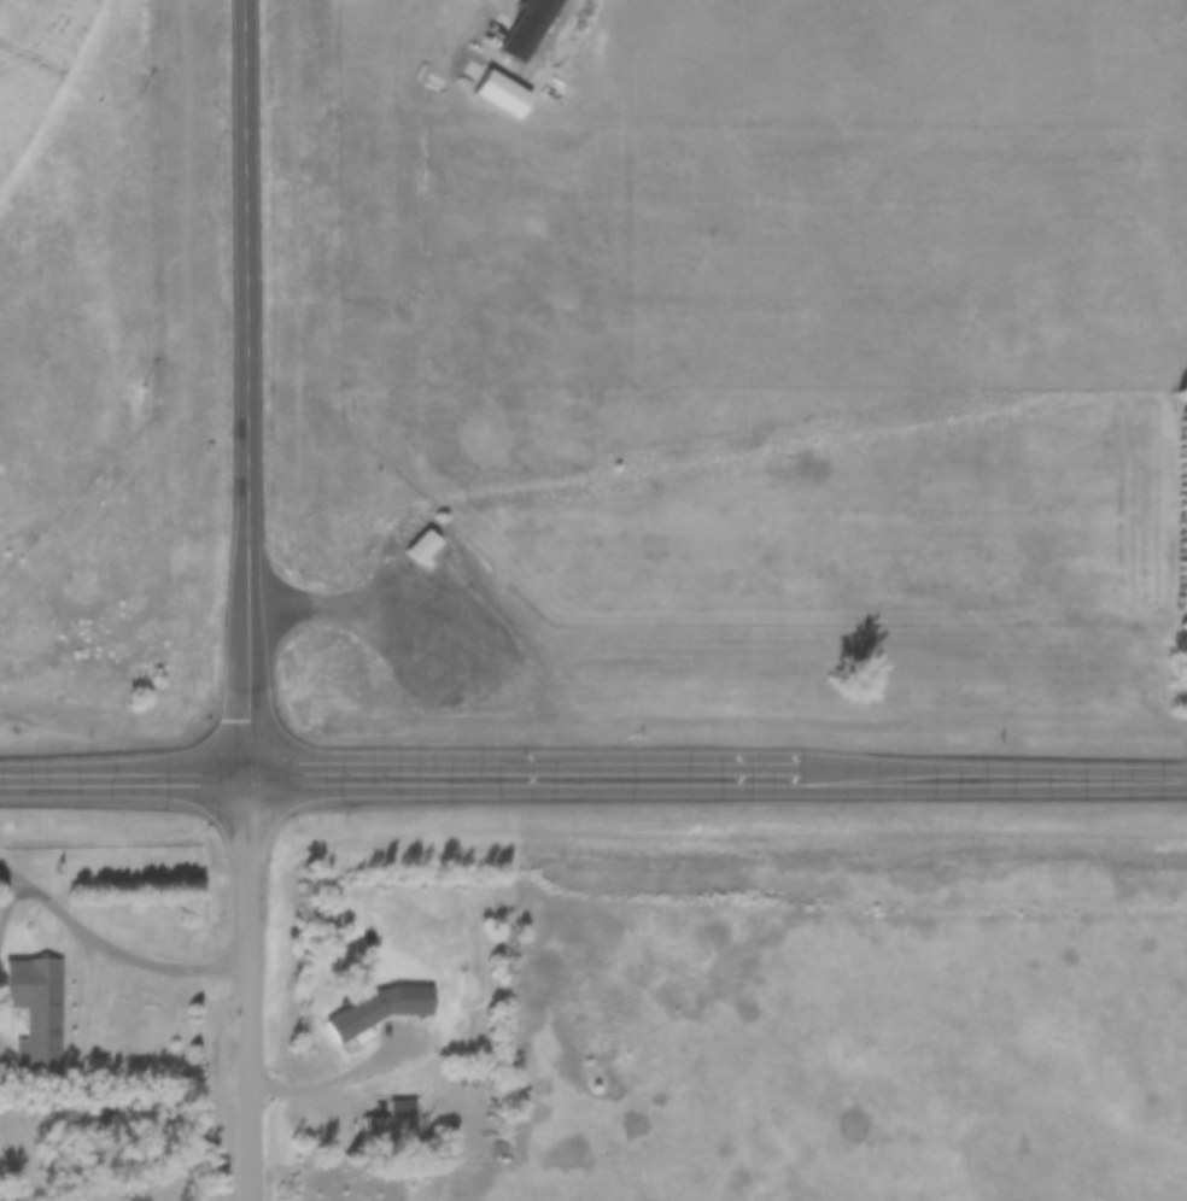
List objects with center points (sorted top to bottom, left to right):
building: (527, 27)
building: (502, 94)
road: (244, 386)
building: (422, 544)
road: (322, 598)
road: (122, 768)
road: (990, 775)
road: (519, 779)
road: (8, 902)
road: (110, 943)
road: (246, 986)
building: (36, 1009)
building: (378, 1009)
road: (88, 1061)
building: (393, 1117)

